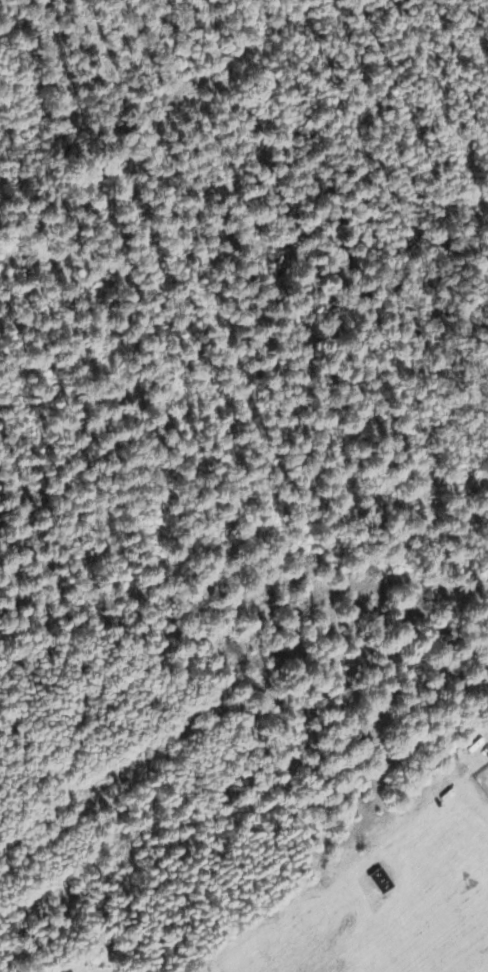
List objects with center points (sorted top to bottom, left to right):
building: (65, 970)

